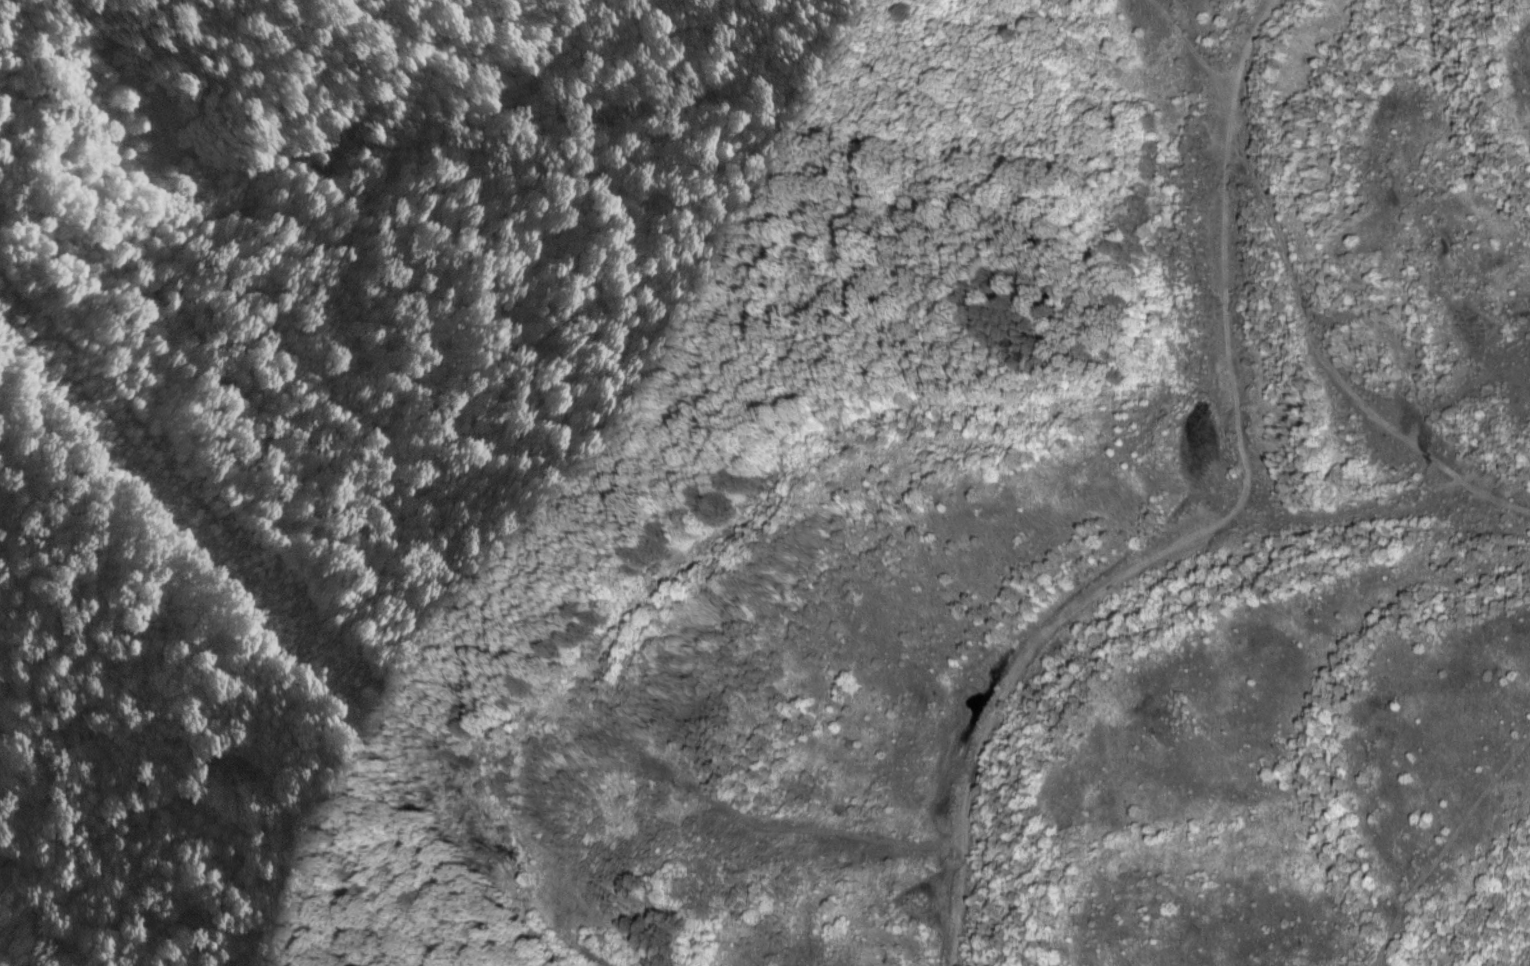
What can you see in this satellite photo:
power tower: (3, 321)
power tower: (138, 468)
power tower: (356, 697)
power tower: (513, 864)

